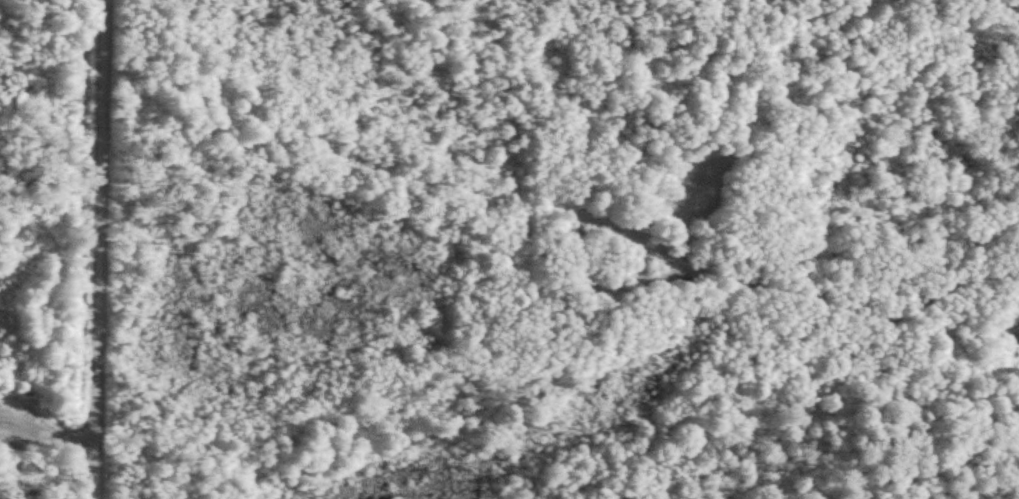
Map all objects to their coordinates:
road: (82, 241)
road: (107, 249)

